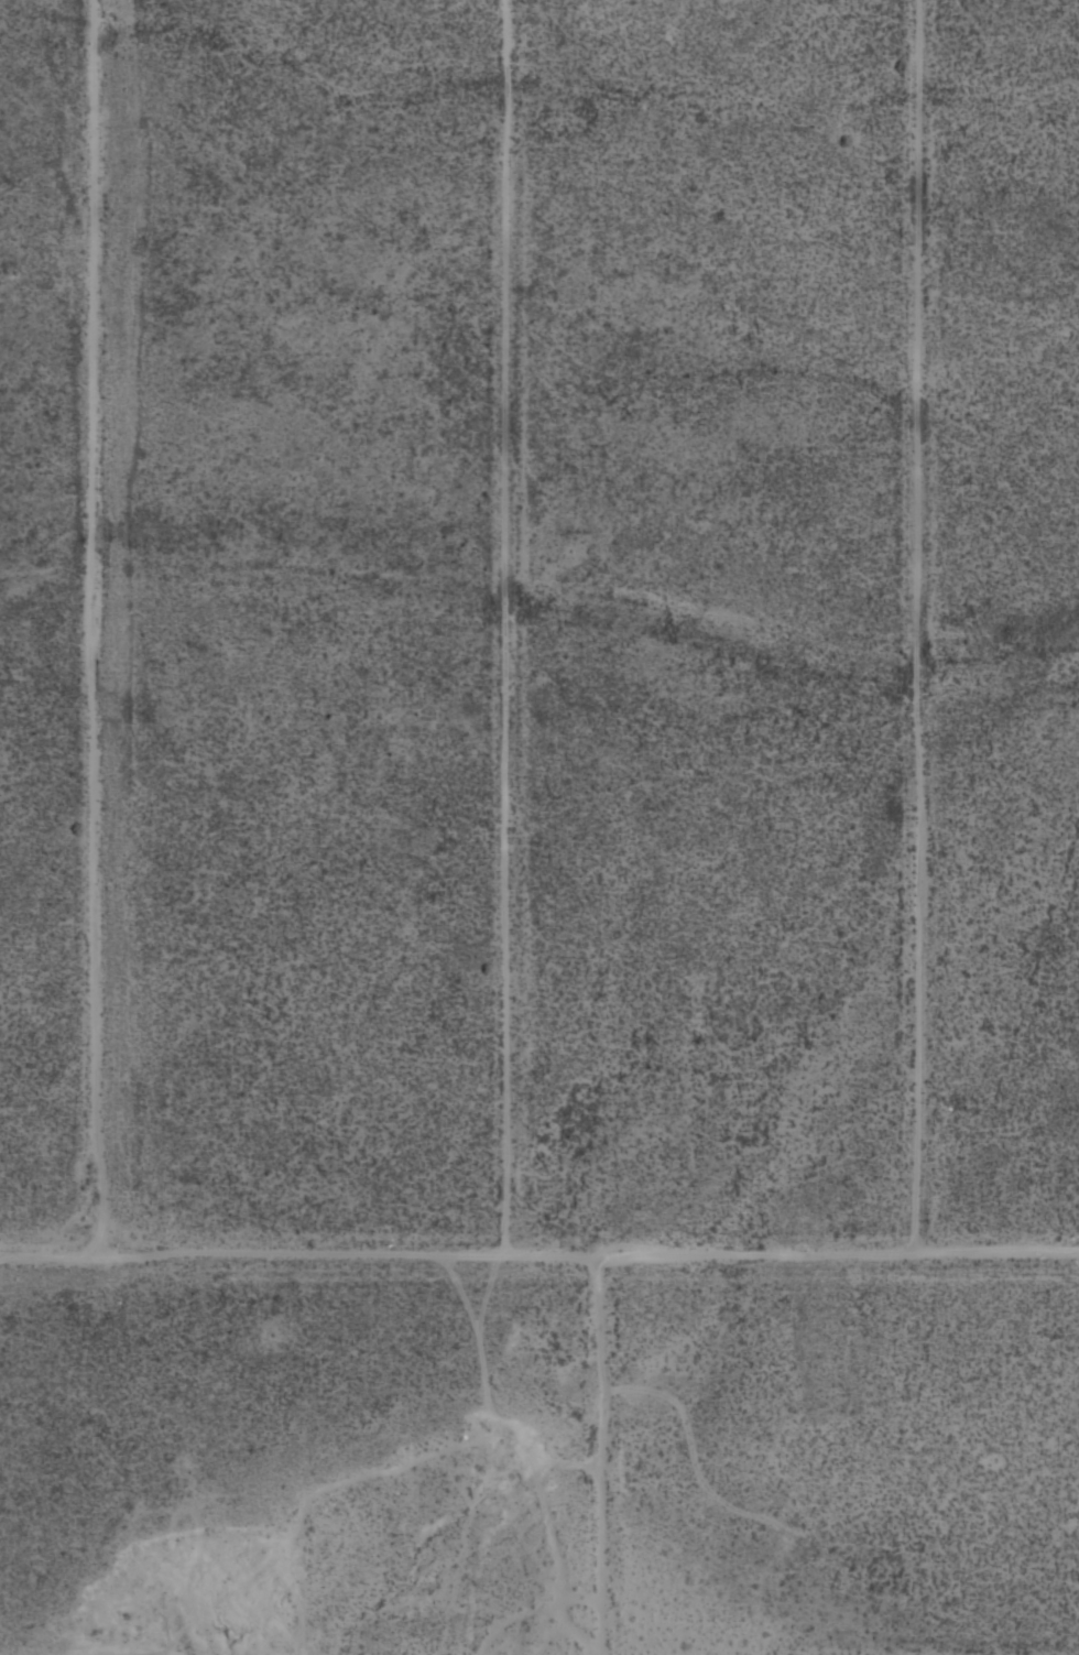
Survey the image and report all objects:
road: (539, 1261)

